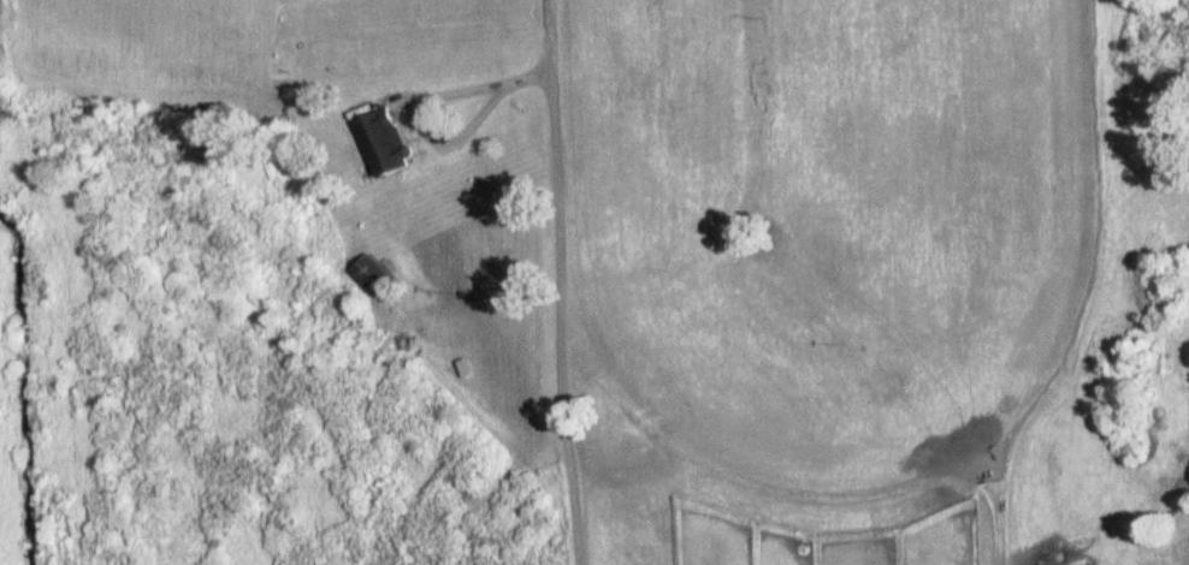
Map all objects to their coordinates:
road: (438, 130)
building: (390, 142)
building: (373, 276)
road: (561, 282)
building: (461, 369)

